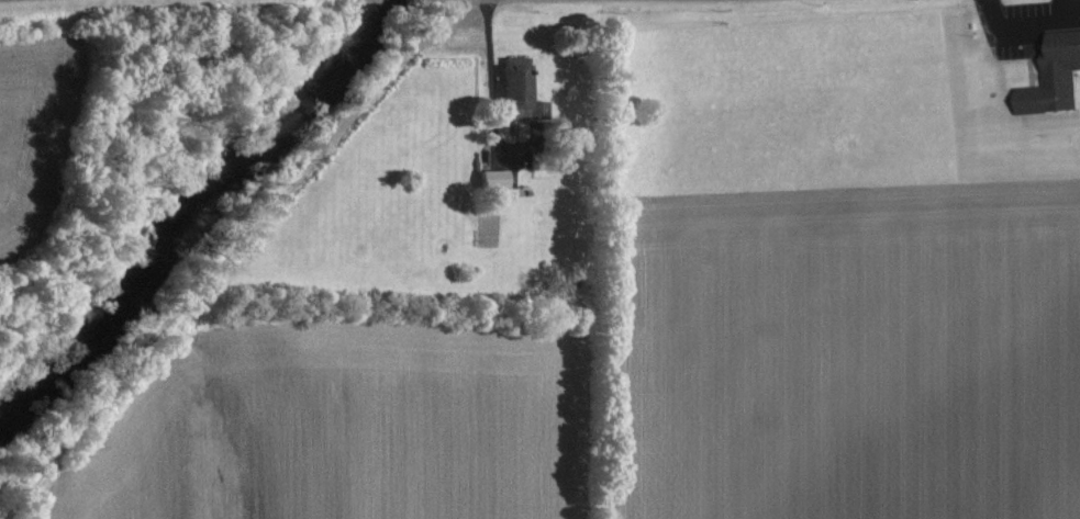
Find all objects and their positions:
road: (486, 67)
building: (1054, 78)
building: (515, 89)
building: (493, 178)
road: (227, 246)

